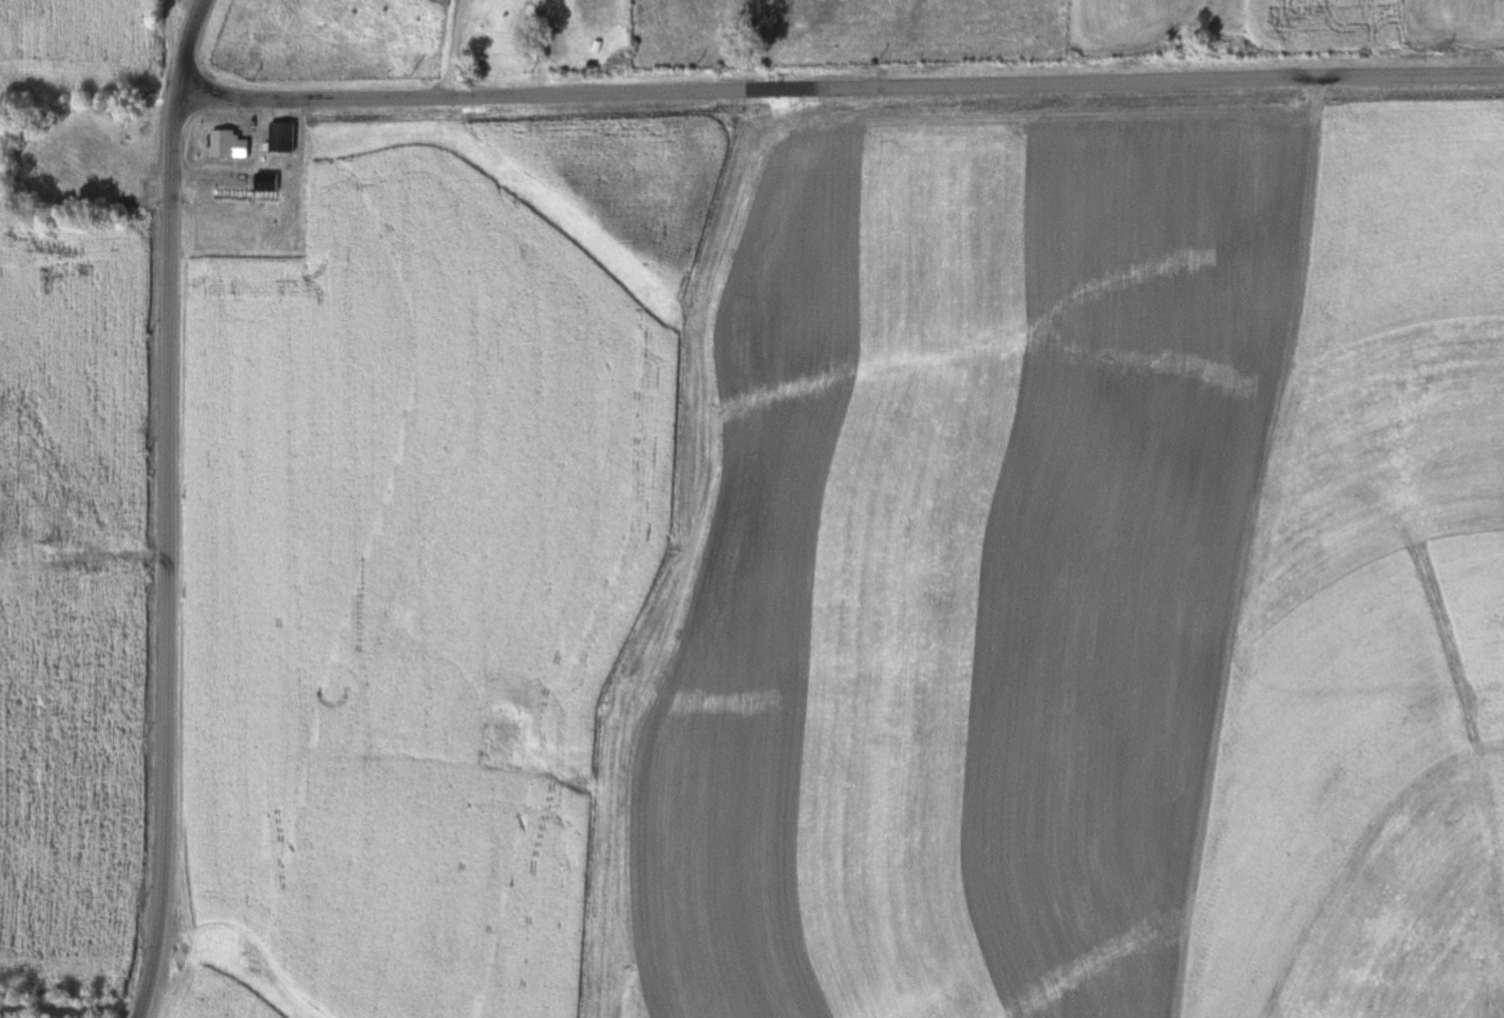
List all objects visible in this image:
road: (845, 89)
building: (282, 139)
building: (227, 144)
building: (265, 182)
building: (212, 193)
road: (173, 508)
building: (55, 524)
building: (0, 551)
road: (73, 1006)

